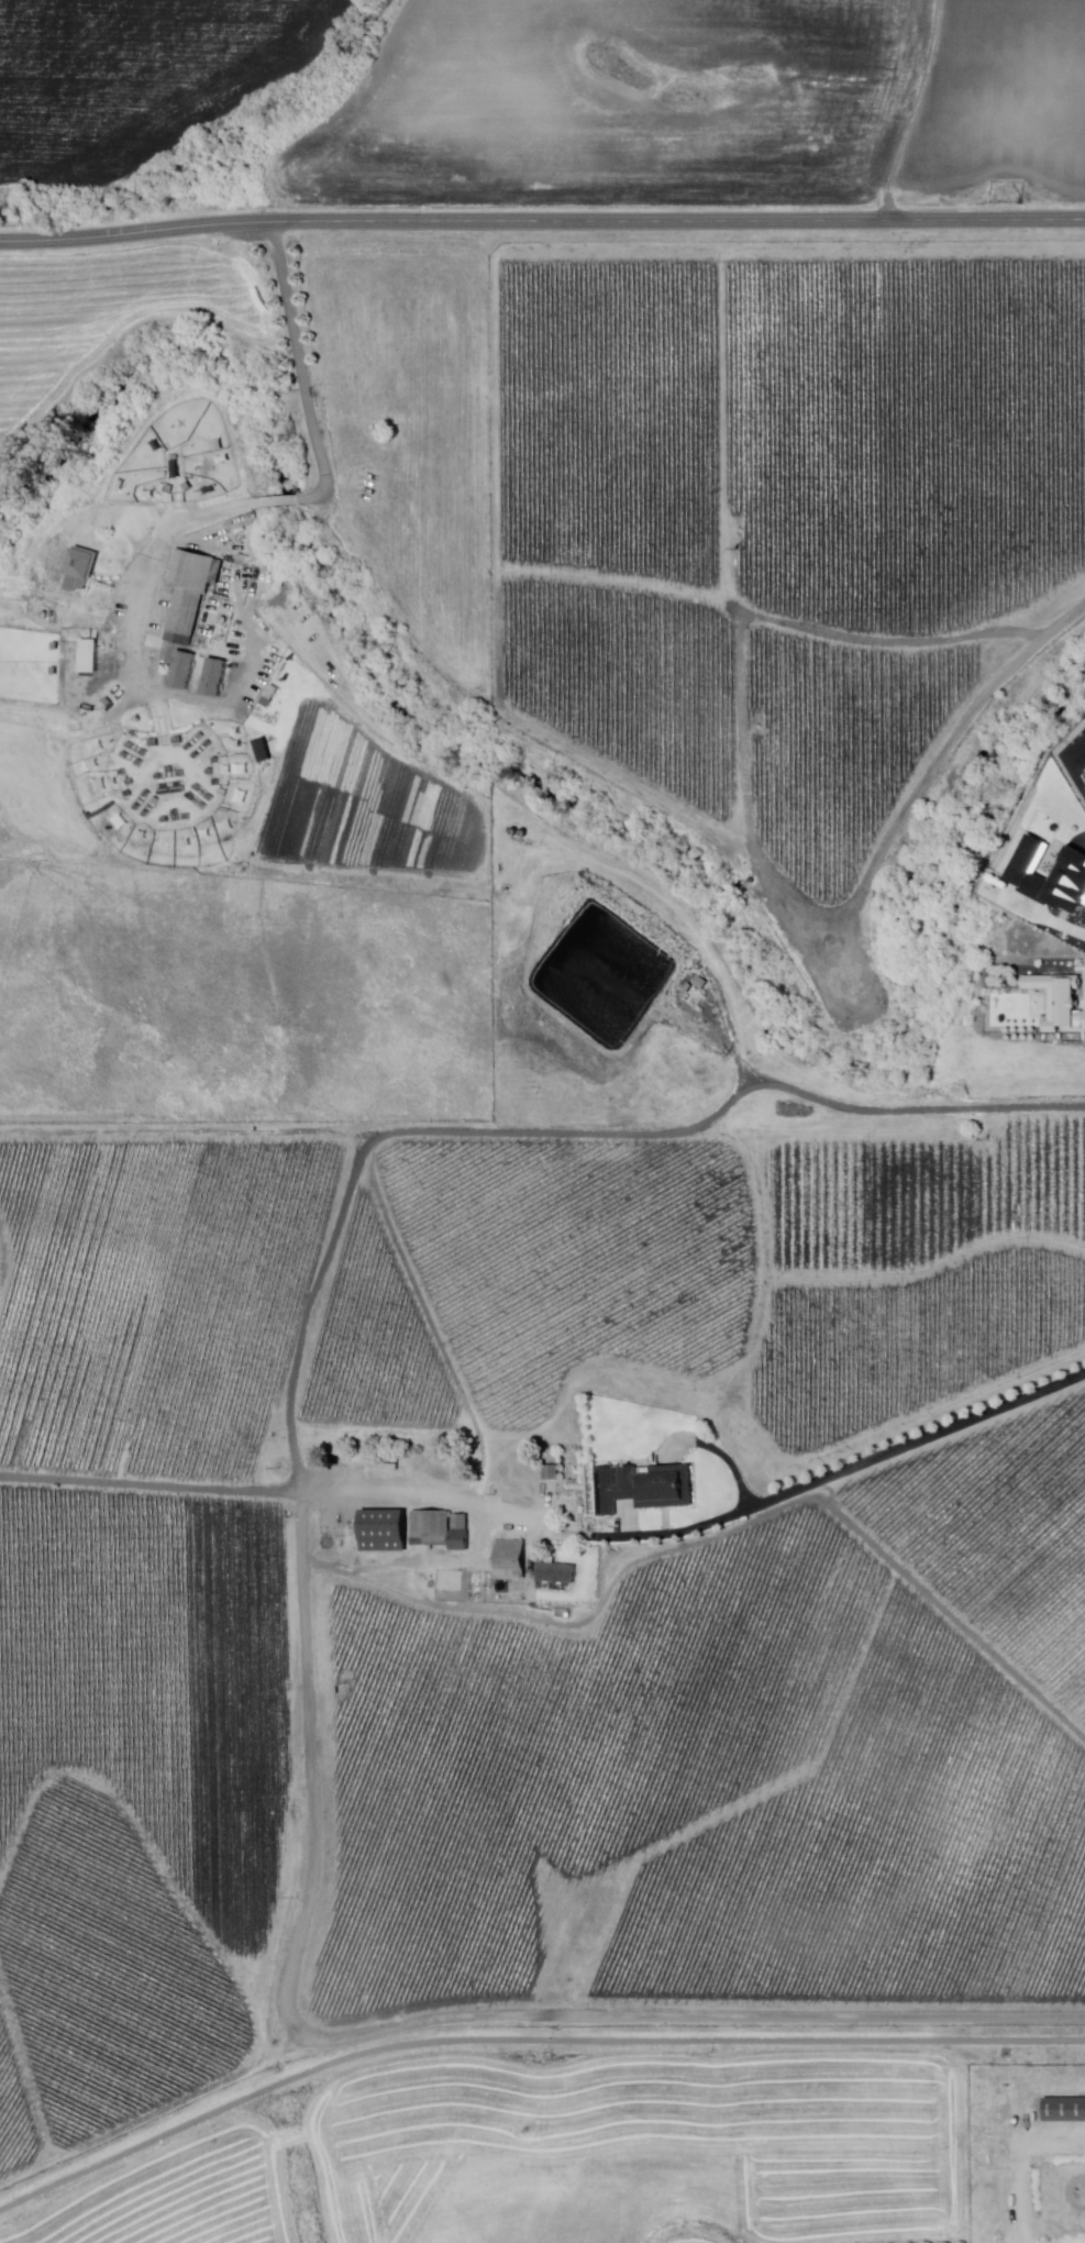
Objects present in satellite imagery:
crop: (135, 78)
crop: (1003, 101)
crop: (619, 106)
road: (920, 110)
road: (542, 221)
crop: (107, 314)
road: (302, 361)
crop: (409, 426)
road: (288, 501)
crop: (782, 517)
road: (153, 556)
building: (82, 568)
building: (190, 593)
building: (89, 656)
building: (184, 671)
building: (214, 678)
building: (109, 703)
building: (201, 737)
building: (209, 744)
building: (131, 745)
building: (189, 748)
building: (145, 753)
building: (125, 755)
building: (197, 756)
building: (217, 761)
building: (141, 763)
building: (170, 770)
building: (211, 772)
building: (123, 773)
building: (181, 774)
building: (159, 777)
crop: (326, 778)
building: (131, 782)
building: (217, 783)
building: (198, 788)
building: (173, 792)
building: (224, 792)
building: (147, 794)
building: (129, 795)
building: (191, 797)
building: (211, 798)
building: (156, 800)
building: (204, 807)
building: (137, 808)
building: (176, 814)
building: (146, 815)
building: (186, 818)
building: (166, 820)
storage tank: (516, 831)
storage tank: (524, 833)
building: (1026, 876)
building: (702, 984)
building: (1059, 998)
crop: (178, 1234)
crop: (704, 1275)
building: (212, 1402)
storage tank: (197, 1406)
storage tank: (209, 1413)
storage tank: (222, 1422)
storage tank: (563, 1460)
storage tank: (563, 1468)
road: (842, 1472)
building: (552, 1473)
building: (511, 1474)
storage tank: (563, 1477)
building: (387, 1479)
building: (645, 1488)
building: (462, 1522)
building: (432, 1526)
building: (385, 1531)
building: (461, 1540)
building: (512, 1560)
building: (558, 1573)
road: (292, 2010)
road: (525, 2038)
building: (1066, 2111)

